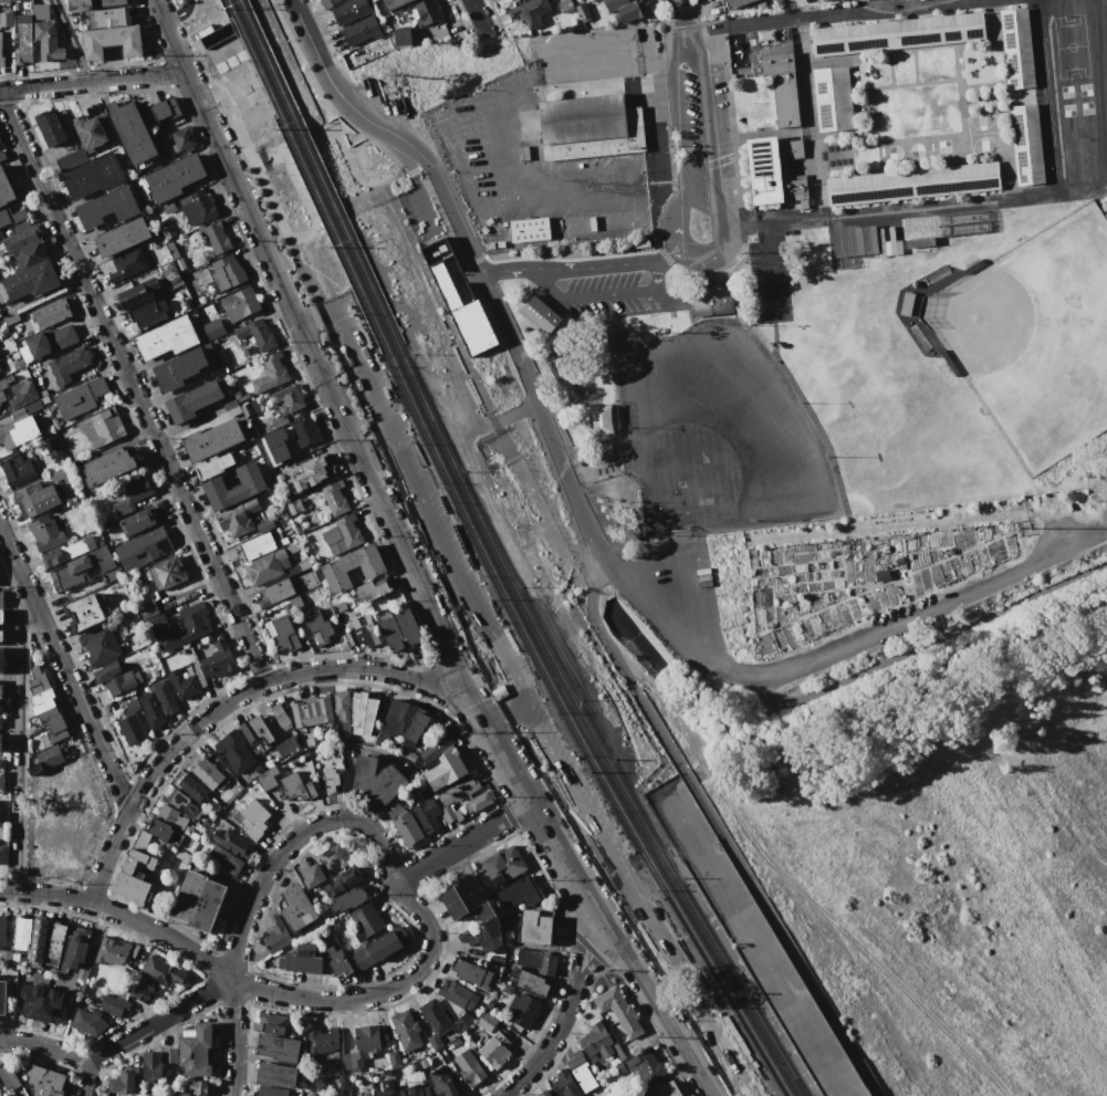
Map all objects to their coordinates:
building: (823, 0)
building: (91, 3)
building: (331, 3)
building: (393, 3)
building: (737, 3)
building: (25, 6)
road: (879, 6)
road: (173, 8)
building: (40, 9)
parking lot: (182, 9)
building: (625, 9)
building: (349, 10)
building: (583, 11)
building: (426, 12)
building: (530, 12)
road: (179, 13)
road: (478, 14)
road: (836, 15)
building: (108, 18)
road: (682, 18)
building: (6, 19)
building: (361, 30)
building: (22, 34)
building: (897, 34)
road: (309, 36)
building: (401, 36)
building: (111, 40)
building: (46, 41)
road: (71, 41)
building: (1017, 49)
building: (1, 54)
building: (22, 58)
building: (776, 60)
road: (93, 82)
building: (833, 98)
building: (785, 101)
building: (161, 109)
building: (63, 115)
building: (50, 127)
building: (94, 132)
building: (132, 134)
building: (160, 134)
building: (184, 138)
road: (374, 138)
building: (0, 144)
building: (1026, 144)
building: (790, 149)
building: (563, 150)
building: (71, 160)
road: (348, 160)
railway: (317, 170)
building: (764, 170)
railway: (306, 173)
building: (92, 176)
building: (174, 177)
building: (912, 184)
building: (4, 188)
building: (794, 190)
road: (983, 197)
road: (270, 203)
building: (198, 206)
building: (107, 207)
building: (11, 216)
building: (166, 229)
building: (215, 236)
building: (20, 237)
building: (122, 237)
building: (854, 241)
building: (919, 244)
building: (174, 252)
road: (696, 253)
building: (30, 255)
road: (581, 263)
building: (128, 264)
road: (767, 269)
building: (168, 272)
building: (227, 272)
building: (205, 275)
building: (188, 276)
building: (29, 281)
building: (153, 284)
building: (445, 285)
building: (458, 285)
road: (598, 294)
building: (134, 296)
building: (710, 300)
building: (240, 303)
building: (50, 313)
building: (147, 314)
building: (540, 314)
building: (10, 317)
building: (472, 326)
building: (213, 328)
building: (257, 334)
park: (1034, 335)
building: (167, 337)
building: (50, 341)
building: (221, 356)
building: (69, 365)
building: (179, 368)
building: (271, 372)
building: (4, 384)
road: (133, 390)
building: (21, 394)
building: (81, 398)
building: (194, 400)
building: (289, 400)
building: (231, 407)
building: (24, 408)
road: (515, 411)
building: (102, 427)
building: (19, 430)
park: (717, 430)
building: (304, 431)
building: (211, 440)
building: (276, 445)
building: (52, 451)
building: (213, 465)
building: (108, 466)
building: (17, 468)
building: (312, 474)
building: (251, 486)
building: (133, 493)
building: (36, 498)
building: (335, 499)
building: (293, 507)
building: (238, 518)
building: (137, 521)
building: (264, 524)
building: (348, 531)
building: (45, 532)
building: (144, 546)
building: (254, 546)
building: (51, 557)
road: (584, 561)
road: (407, 562)
building: (104, 563)
road: (609, 563)
building: (263, 566)
building: (352, 567)
building: (70, 573)
building: (166, 573)
building: (373, 589)
building: (275, 592)
building: (1, 596)
building: (147, 608)
building: (84, 613)
building: (2, 616)
building: (317, 626)
building: (179, 627)
building: (398, 629)
building: (282, 631)
building: (1, 635)
building: (362, 635)
road: (936, 640)
building: (100, 645)
road: (601, 655)
building: (2, 659)
building: (218, 659)
road: (512, 668)
road: (63, 671)
building: (115, 679)
building: (187, 682)
building: (0, 688)
building: (40, 691)
building: (165, 697)
road: (230, 700)
building: (342, 704)
building: (132, 706)
building: (357, 708)
building: (152, 710)
building: (310, 710)
building: (280, 716)
building: (397, 717)
road: (503, 718)
building: (1, 722)
building: (53, 723)
railway: (587, 726)
railway: (575, 728)
building: (130, 729)
building: (415, 729)
building: (255, 731)
building: (313, 741)
building: (0, 743)
road: (18, 745)
building: (288, 745)
building: (437, 747)
building: (233, 751)
building: (408, 755)
building: (45, 758)
building: (1, 763)
building: (445, 769)
building: (83, 772)
building: (207, 773)
building: (267, 777)
building: (331, 780)
building: (376, 780)
building: (1, 781)
building: (296, 786)
building: (191, 787)
building: (456, 791)
building: (478, 802)
building: (182, 803)
building: (93, 807)
building: (426, 811)
building: (451, 815)
building: (170, 816)
building: (253, 818)
building: (205, 823)
building: (404, 824)
road: (714, 825)
building: (159, 828)
building: (196, 836)
building: (140, 839)
building: (232, 843)
road: (289, 843)
road: (459, 844)
building: (2, 854)
building: (332, 857)
building: (224, 859)
building: (503, 865)
building: (311, 869)
building: (133, 877)
building: (347, 878)
road: (797, 888)
building: (520, 893)
building: (348, 899)
building: (199, 900)
building: (297, 909)
building: (472, 912)
road: (122, 915)
building: (366, 919)
building: (508, 922)
building: (539, 926)
building: (2, 930)
building: (21, 935)
building: (275, 935)
building: (55, 939)
building: (36, 941)
building: (379, 947)
building: (75, 950)
building: (113, 953)
building: (4, 958)
building: (301, 959)
building: (337, 961)
building: (536, 961)
building: (161, 972)
building: (471, 973)
building: (529, 981)
building: (143, 988)
building: (505, 988)
railway: (748, 990)
building: (119, 992)
building: (457, 994)
road: (378, 995)
building: (2, 996)
railway: (722, 996)
building: (42, 1004)
building: (113, 1004)
road: (567, 1006)
building: (521, 1010)
building: (617, 1010)
building: (88, 1021)
building: (462, 1021)
building: (485, 1021)
road: (157, 1022)
building: (434, 1022)
building: (274, 1024)
building: (406, 1030)
road: (234, 1037)
building: (322, 1041)
building: (596, 1041)
building: (362, 1045)
road: (43, 1046)
building: (278, 1047)
building: (495, 1050)
building: (194, 1051)
building: (617, 1051)
building: (168, 1055)
building: (393, 1058)
building: (646, 1065)
building: (152, 1066)
building: (470, 1068)
building: (581, 1072)
building: (275, 1075)
building: (8, 1077)
building: (441, 1079)
building: (44, 1081)
road: (84, 1081)
building: (124, 1083)
building: (565, 1084)
building: (198, 1087)
building: (668, 1089)
building: (270, 1092)
building: (415, 1092)
building: (386, 1093)
building: (543, 1093)
building: (182, 1094)
building: (305, 1095)
building: (312, 1095)
building: (336, 1095)
building: (365, 1095)

